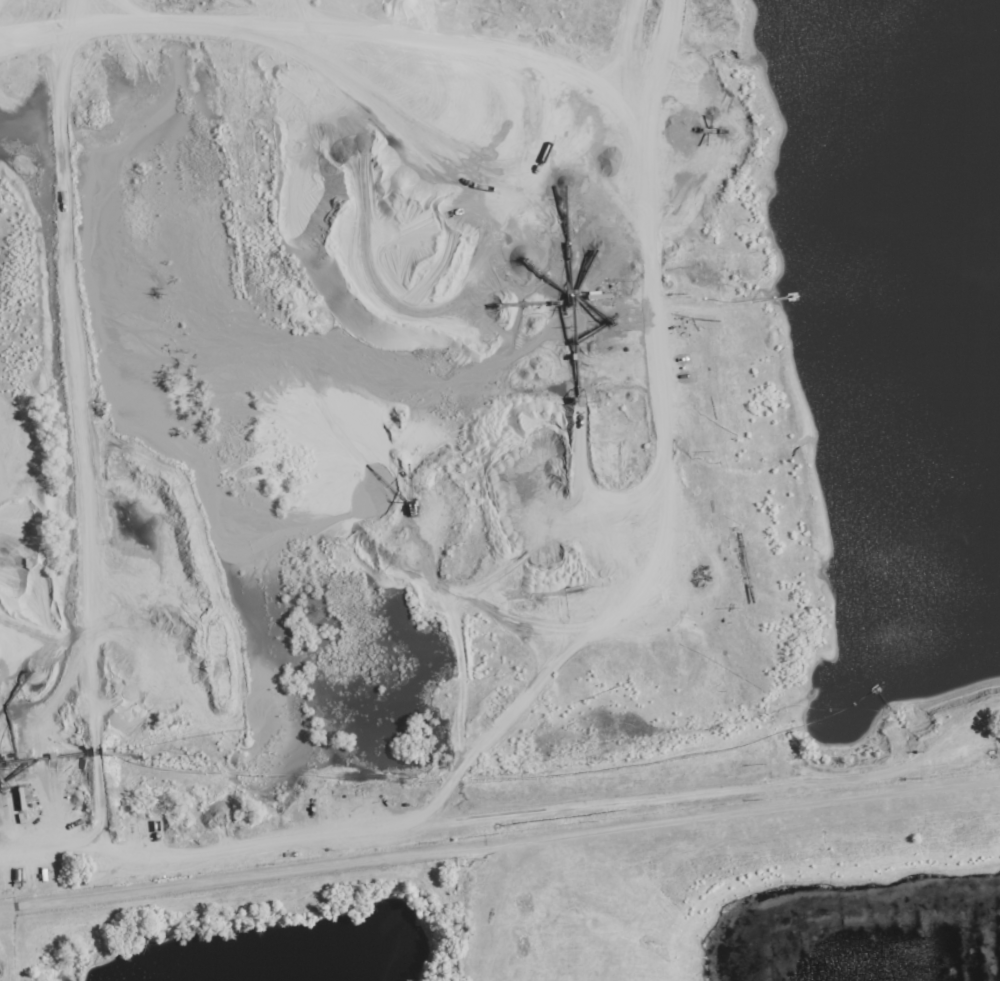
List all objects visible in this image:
road: (499, 838)

